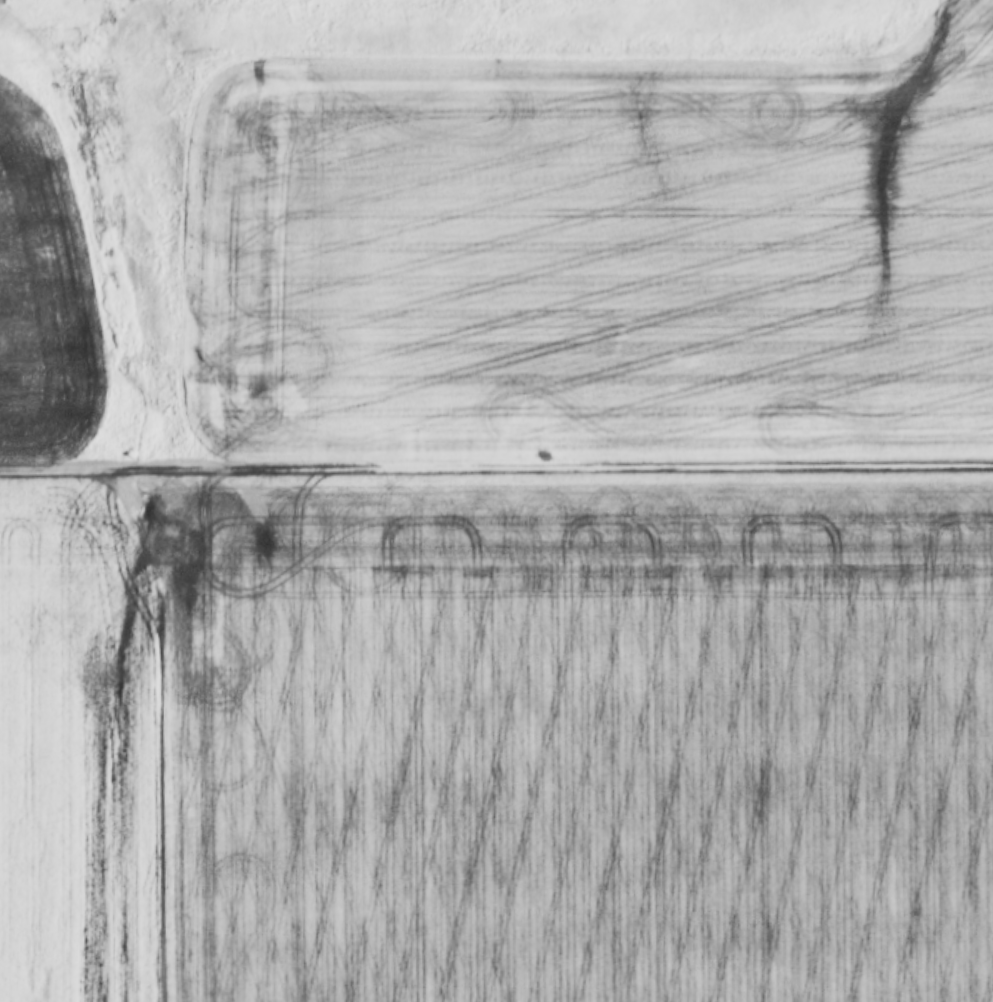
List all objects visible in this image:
road: (496, 466)
crop: (497, 741)

